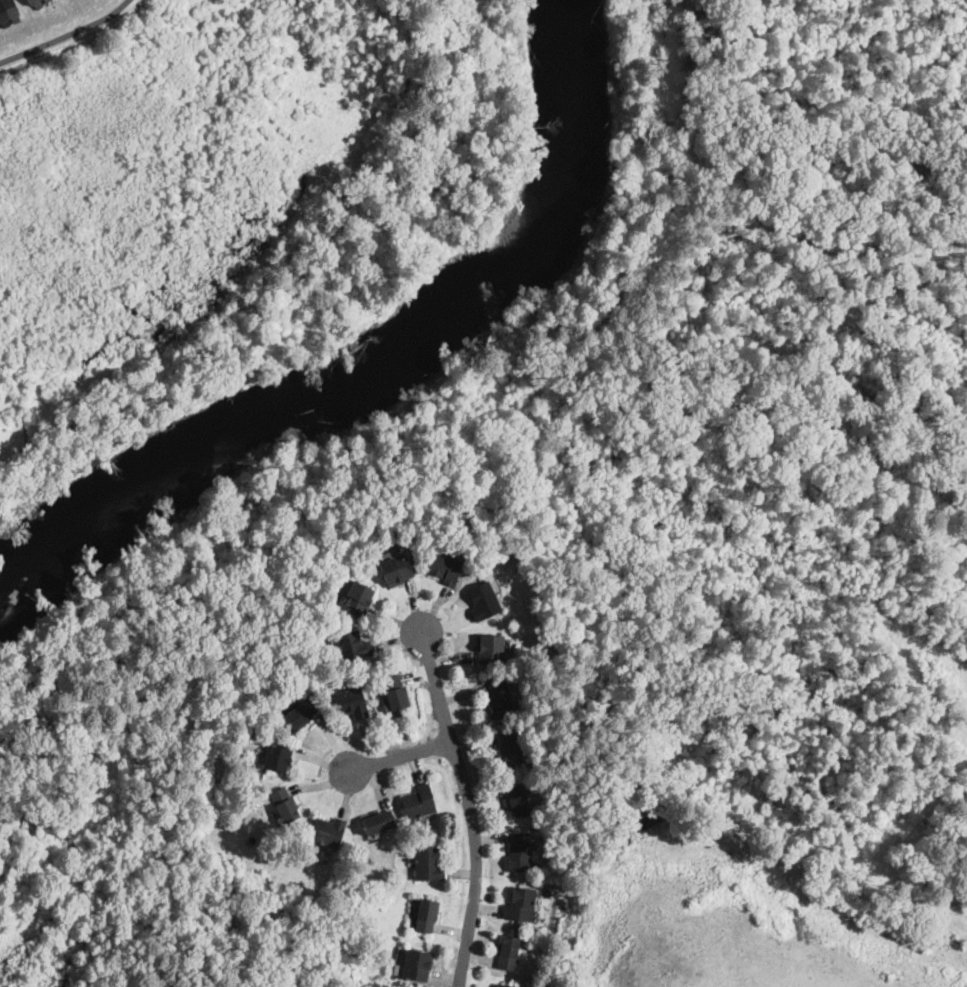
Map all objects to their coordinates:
building: (48, 1)
building: (37, 4)
building: (11, 9)
building: (4, 16)
road: (66, 35)
park: (229, 197)
river: (380, 359)
building: (445, 568)
building: (394, 571)
building: (359, 598)
building: (482, 601)
building: (513, 623)
building: (352, 646)
building: (489, 648)
building: (560, 659)
building: (395, 693)
building: (499, 699)
building: (351, 703)
building: (301, 714)
building: (509, 748)
road: (402, 756)
building: (278, 757)
building: (517, 800)
building: (419, 802)
building: (285, 805)
road: (470, 808)
building: (378, 822)
building: (327, 832)
building: (519, 853)
building: (428, 864)
building: (521, 904)
building: (426, 916)
building: (507, 954)
building: (417, 964)
building: (502, 985)

